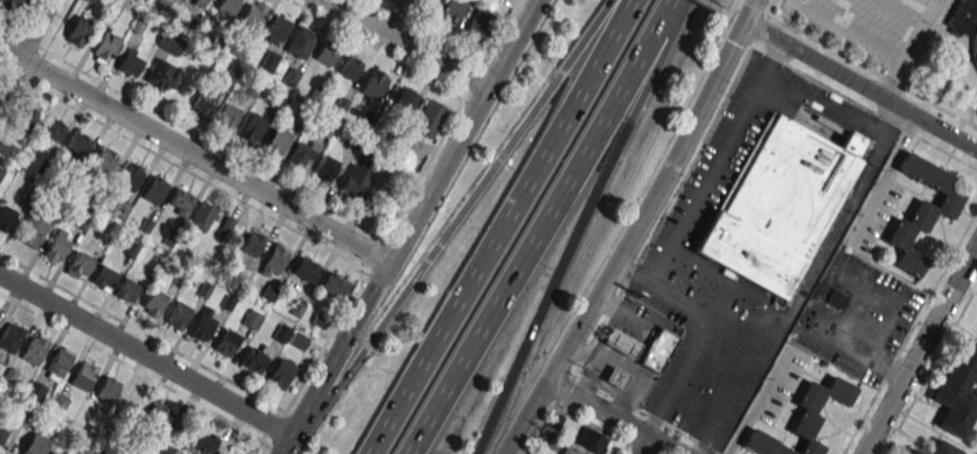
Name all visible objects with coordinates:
building: (197, 2)
building: (424, 2)
road: (792, 2)
building: (9, 3)
road: (710, 4)
building: (227, 6)
road: (768, 8)
building: (451, 10)
road: (728, 10)
building: (250, 19)
building: (964, 24)
building: (477, 25)
parking lot: (867, 25)
building: (276, 29)
road: (758, 29)
building: (78, 30)
road: (846, 32)
building: (300, 42)
building: (170, 43)
road: (24, 44)
road: (404, 44)
building: (105, 45)
road: (757, 48)
road: (907, 49)
building: (325, 53)
road: (772, 57)
building: (268, 62)
building: (130, 63)
road: (862, 64)
building: (348, 67)
building: (163, 75)
road: (91, 77)
building: (374, 83)
road: (859, 86)
building: (404, 99)
building: (202, 102)
road: (879, 115)
building: (26, 116)
road: (837, 116)
building: (227, 117)
building: (429, 118)
building: (252, 128)
building: (52, 129)
road: (460, 131)
building: (276, 140)
building: (77, 143)
building: (302, 154)
road: (193, 155)
building: (104, 159)
road: (716, 164)
building: (326, 167)
road: (183, 168)
building: (130, 176)
road: (882, 178)
building: (356, 179)
building: (154, 189)
road: (654, 192)
building: (179, 201)
building: (776, 205)
road: (663, 210)
building: (918, 212)
road: (460, 213)
building: (5, 217)
building: (201, 217)
building: (227, 224)
road: (579, 225)
road: (502, 227)
road: (542, 227)
building: (31, 230)
parking lot: (749, 240)
building: (251, 243)
road: (824, 243)
building: (57, 245)
building: (273, 261)
building: (79, 265)
building: (305, 269)
road: (382, 273)
building: (103, 278)
building: (334, 285)
building: (128, 288)
building: (834, 297)
road: (851, 298)
building: (153, 302)
building: (177, 315)
building: (251, 320)
building: (203, 324)
road: (142, 332)
road: (743, 334)
building: (11, 336)
building: (298, 340)
building: (226, 343)
building: (620, 344)
building: (34, 348)
building: (657, 349)
road: (919, 349)
road: (338, 352)
road: (146, 356)
building: (255, 358)
building: (58, 363)
building: (280, 373)
building: (83, 376)
building: (615, 377)
road: (680, 377)
road: (563, 387)
building: (107, 389)
building: (957, 390)
building: (34, 391)
building: (58, 403)
building: (157, 414)
road: (220, 416)
building: (805, 416)
road: (526, 417)
road: (613, 417)
building: (555, 422)
building: (176, 425)
road: (541, 426)
building: (3, 432)
road: (292, 437)
building: (202, 441)
building: (548, 441)
building: (591, 441)
building: (34, 444)
road: (643, 445)
building: (761, 445)
building: (942, 448)
building: (238, 451)
building: (567, 451)
building: (913, 451)
building: (52, 453)

